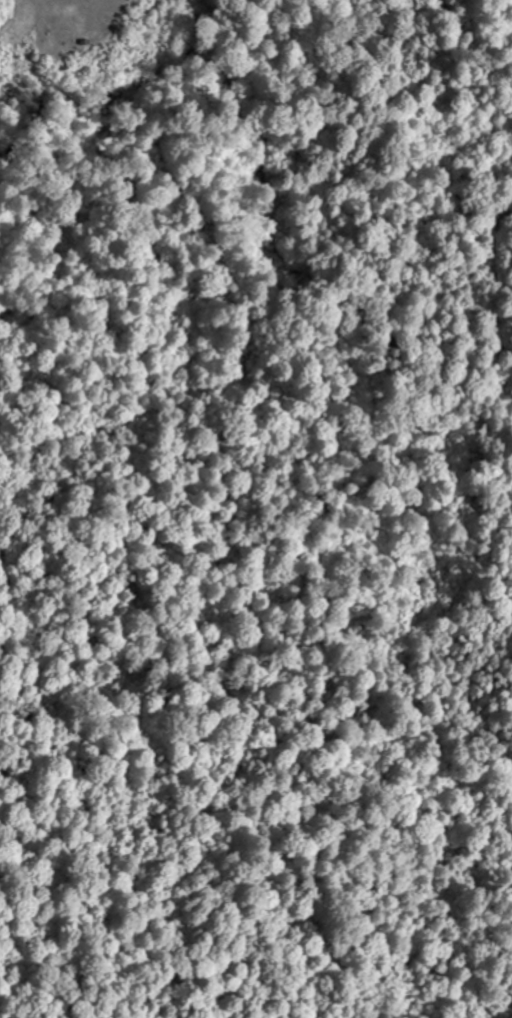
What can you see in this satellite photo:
road: (28, 34)
road: (182, 1013)

